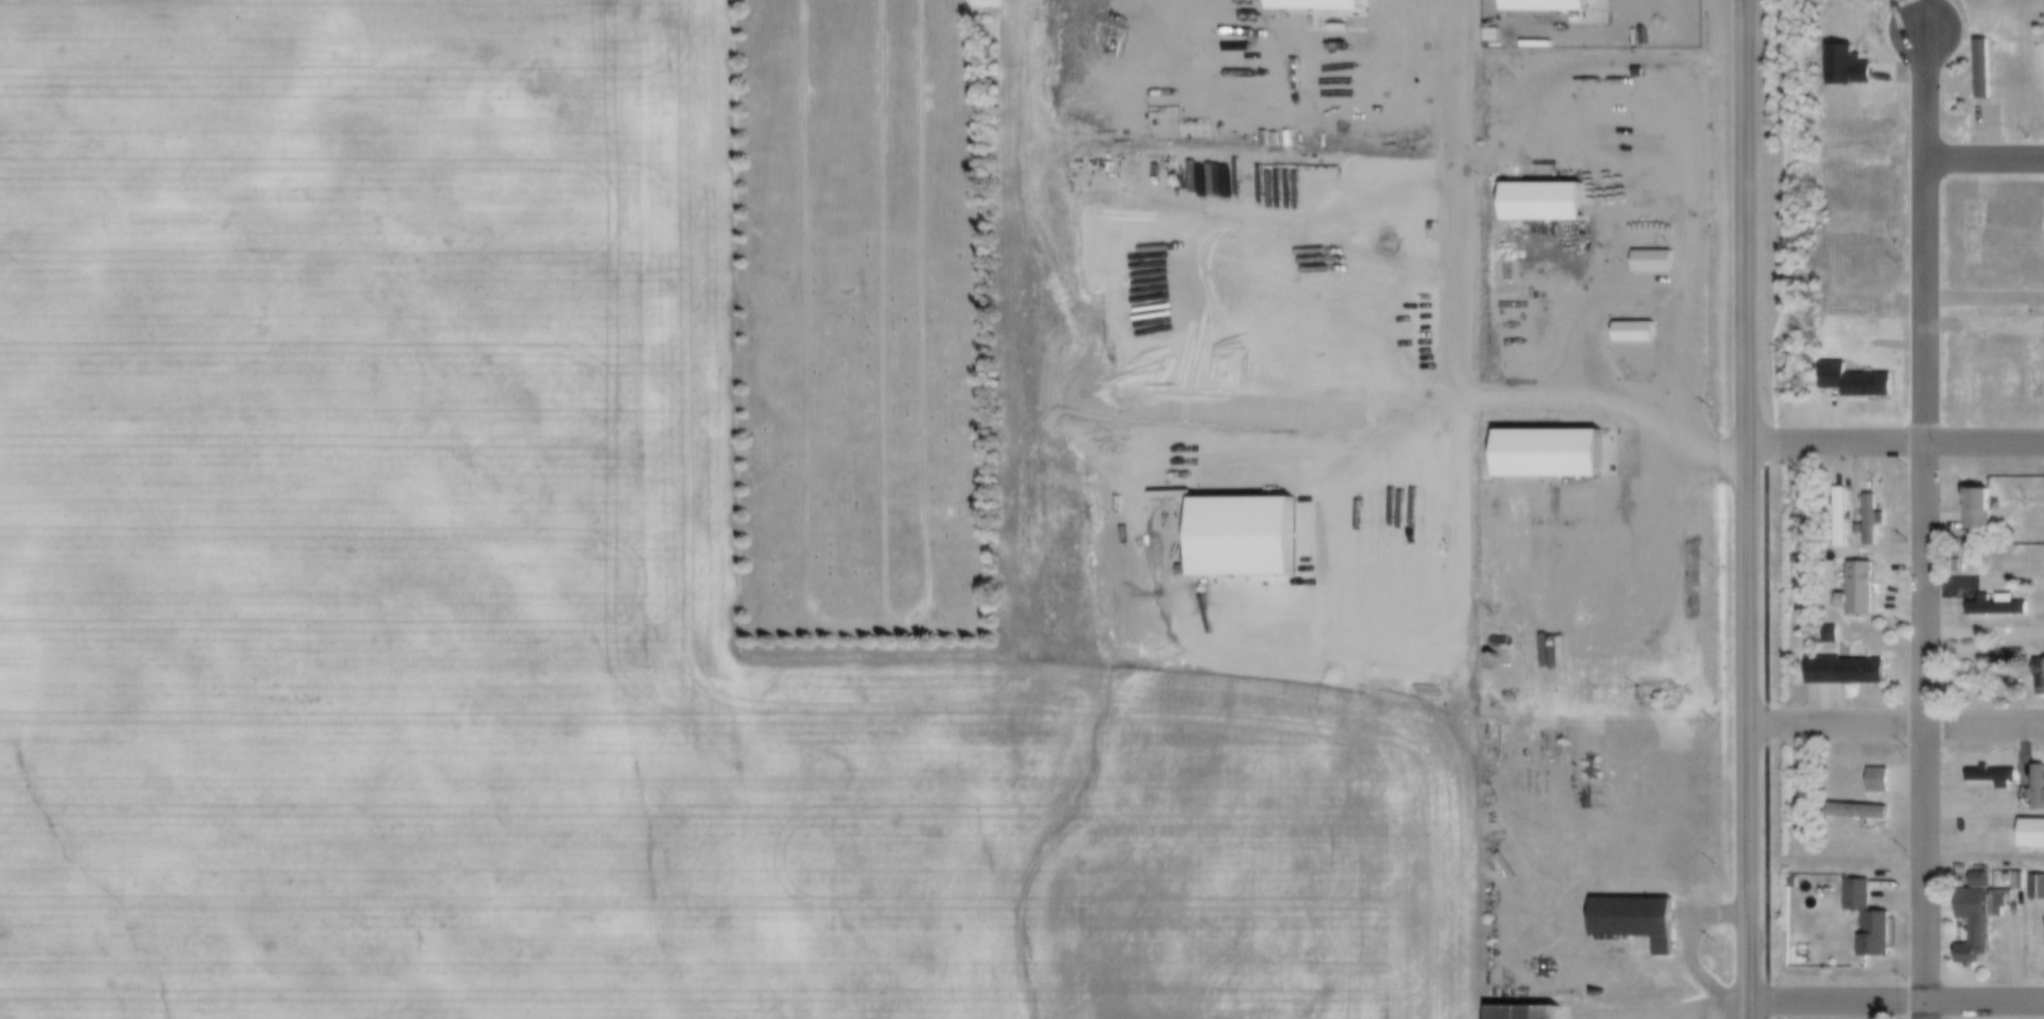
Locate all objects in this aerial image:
building: (1313, 6)
building: (1544, 6)
building: (1853, 68)
building: (1981, 68)
building: (1988, 71)
road: (1983, 155)
building: (1542, 201)
building: (1971, 232)
road: (1922, 238)
building: (1533, 252)
building: (1568, 261)
building: (1651, 261)
road: (1983, 299)
road: (1983, 322)
building: (1634, 338)
road: (1586, 342)
building: (1878, 344)
building: (2038, 368)
building: (1965, 370)
building: (1858, 382)
road: (1894, 441)
building: (1549, 453)
road: (1745, 509)
building: (1981, 515)
building: (1838, 517)
building: (1845, 519)
building: (1868, 519)
building: (1875, 523)
building: (1241, 540)
building: (1855, 568)
building: (1864, 590)
building: (1855, 597)
building: (2002, 608)
building: (1836, 638)
building: (1850, 673)
building: (2043, 675)
building: (1648, 694)
building: (1666, 695)
road: (1895, 724)
road: (1924, 730)
building: (1998, 779)
building: (1885, 783)
building: (2040, 792)
building: (1863, 814)
building: (2035, 836)
road: (1984, 859)
building: (1985, 884)
building: (2038, 890)
building: (2008, 901)
building: (1638, 921)
building: (1874, 922)
building: (1978, 925)
road: (1689, 941)
road: (1895, 1000)
road: (1714, 1007)
building: (1530, 1013)

